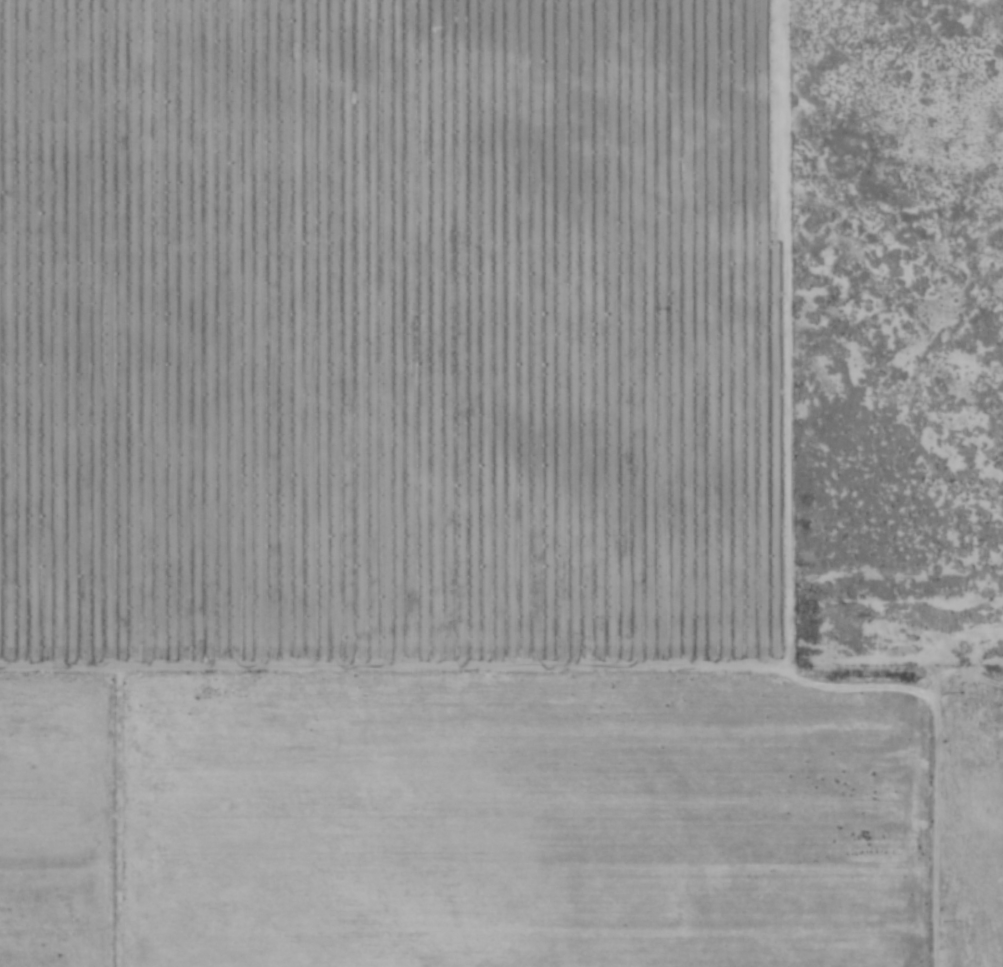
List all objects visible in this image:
road: (931, 757)
road: (114, 819)

